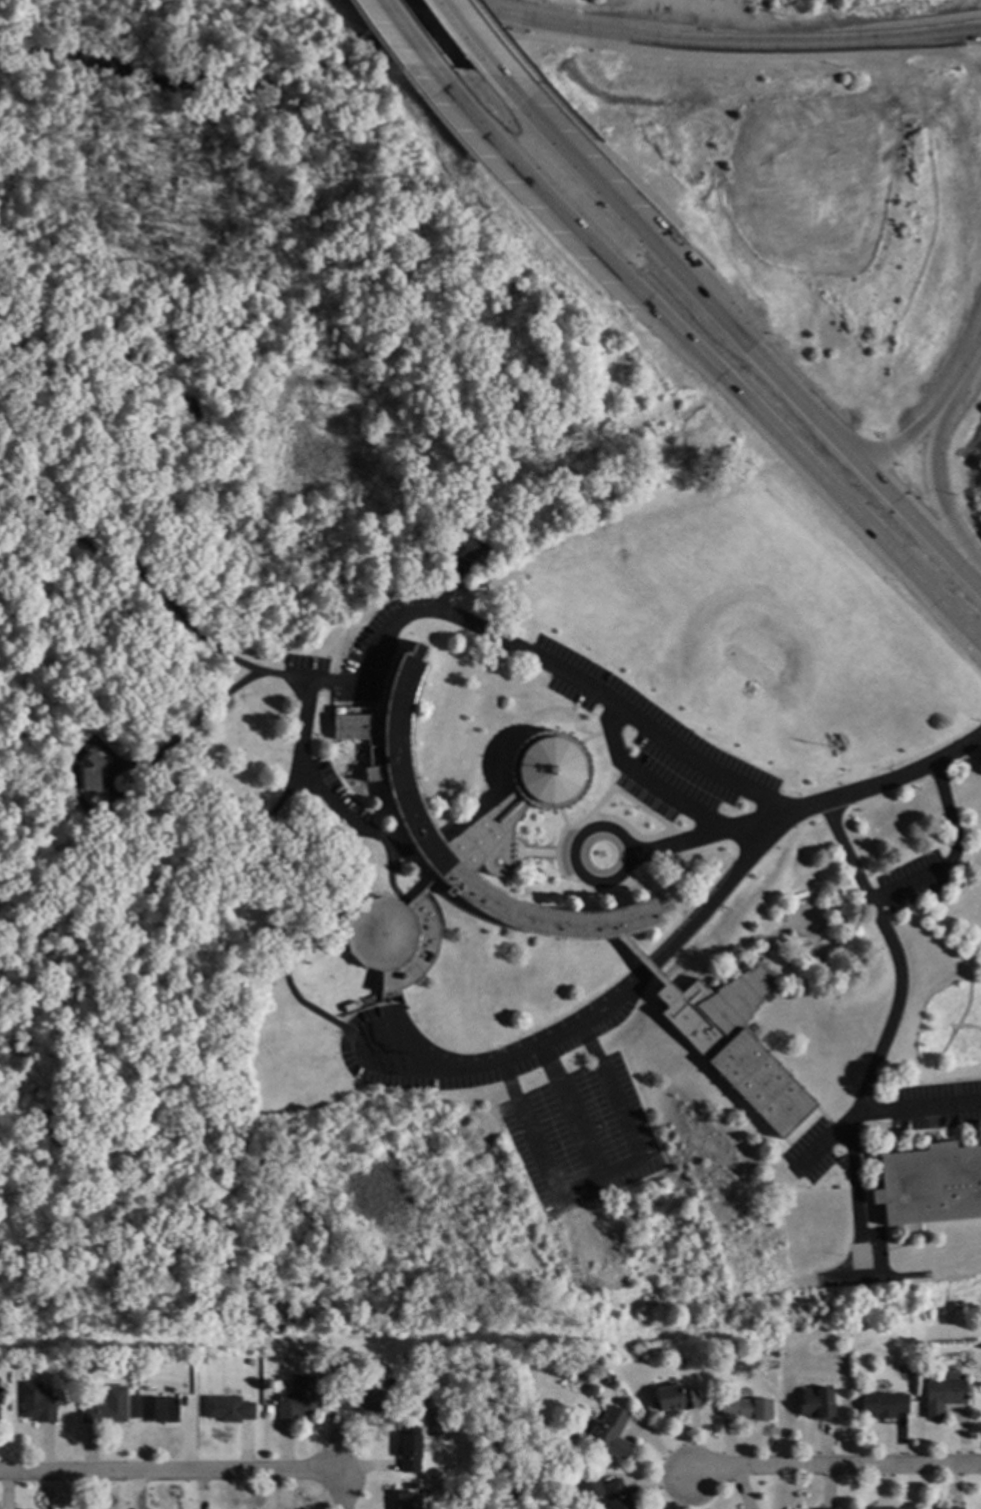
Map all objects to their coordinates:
road: (501, 37)
road: (403, 39)
road: (474, 42)
road: (697, 44)
road: (380, 45)
road: (602, 150)
road: (588, 165)
road: (526, 184)
road: (503, 195)
road: (969, 360)
road: (822, 421)
road: (911, 433)
road: (802, 468)
road: (934, 480)
road: (15, 489)
road: (37, 509)
building: (477, 551)
road: (161, 601)
road: (622, 713)
road: (203, 714)
building: (99, 778)
road: (646, 782)
road: (946, 814)
road: (600, 827)
road: (708, 837)
building: (469, 850)
road: (848, 853)
road: (910, 884)
road: (256, 888)
road: (707, 906)
road: (882, 1043)
building: (737, 1044)
road: (508, 1059)
parking lot: (531, 1094)
road: (913, 1112)
road: (567, 1113)
road: (599, 1177)
road: (854, 1179)
building: (931, 1184)
building: (416, 1362)
building: (3, 1392)
building: (946, 1396)
building: (362, 1397)
building: (300, 1398)
building: (680, 1399)
building: (40, 1403)
building: (820, 1404)
building: (887, 1405)
building: (110, 1407)
building: (750, 1408)
building: (162, 1409)
building: (231, 1409)
park: (505, 1428)
building: (613, 1432)
building: (413, 1449)
road: (840, 1467)
road: (173, 1476)
building: (595, 1489)
building: (428, 1490)
road: (345, 1493)
building: (620, 1494)
building: (410, 1501)
building: (884, 1508)
building: (948, 1508)

